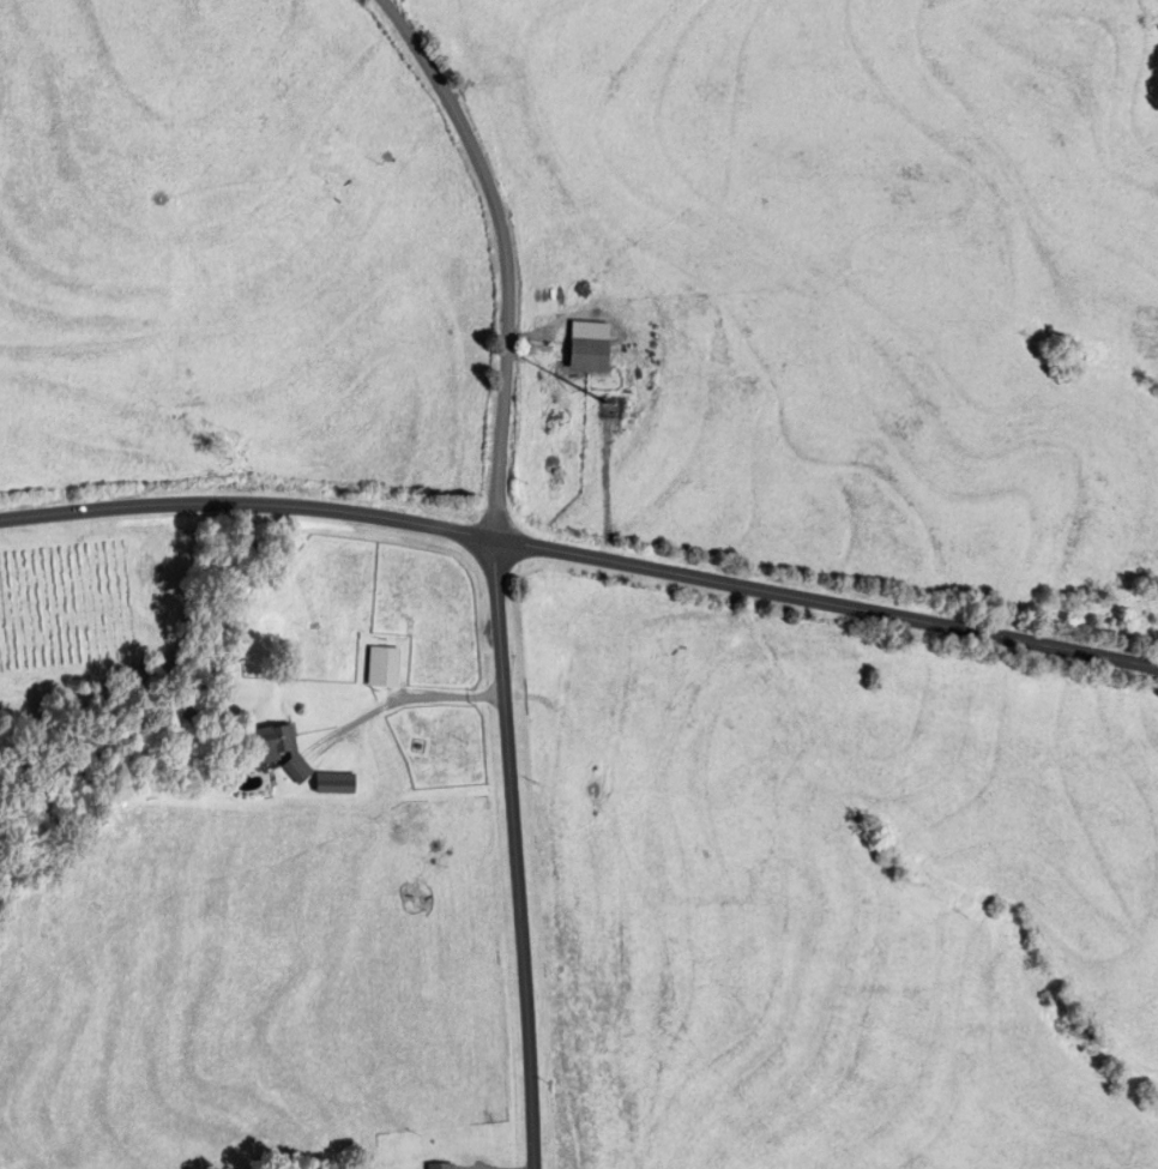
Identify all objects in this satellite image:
building: (589, 355)
road: (581, 561)
road: (500, 567)
building: (378, 667)
building: (279, 748)
building: (336, 783)
building: (442, 1167)

